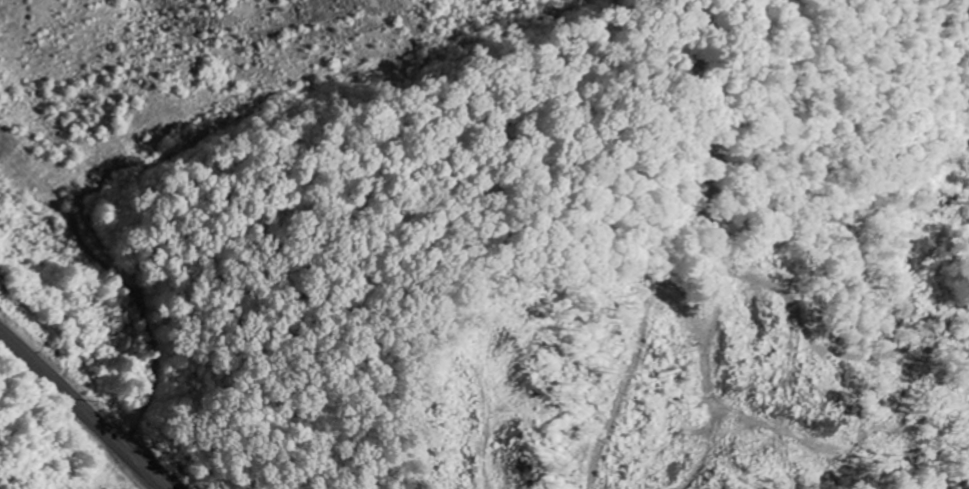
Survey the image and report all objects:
road: (85, 405)

